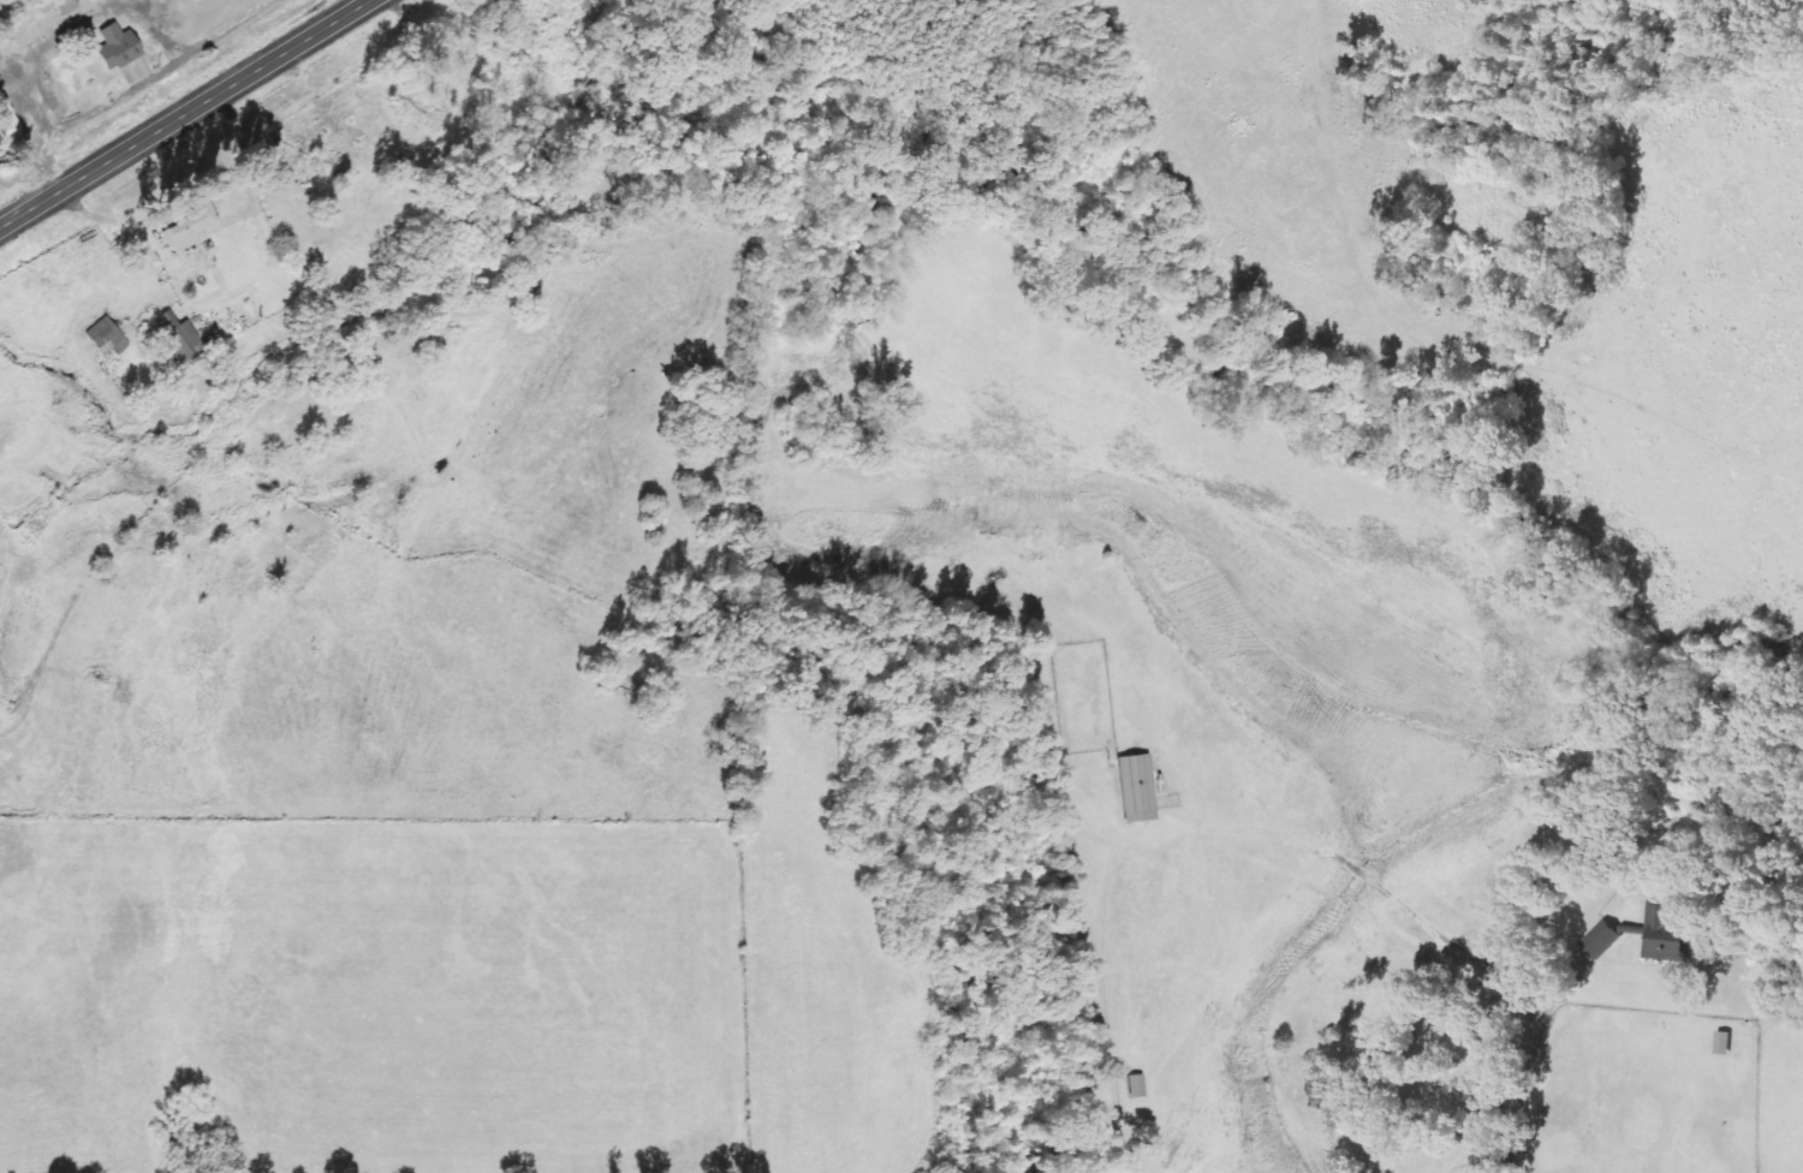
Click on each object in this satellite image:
building: (114, 47)
road: (180, 111)
building: (7, 117)
building: (185, 230)
building: (105, 338)
building: (177, 338)
building: (1133, 788)
building: (1666, 934)
building: (1602, 940)
building: (1724, 1043)
building: (1135, 1085)

